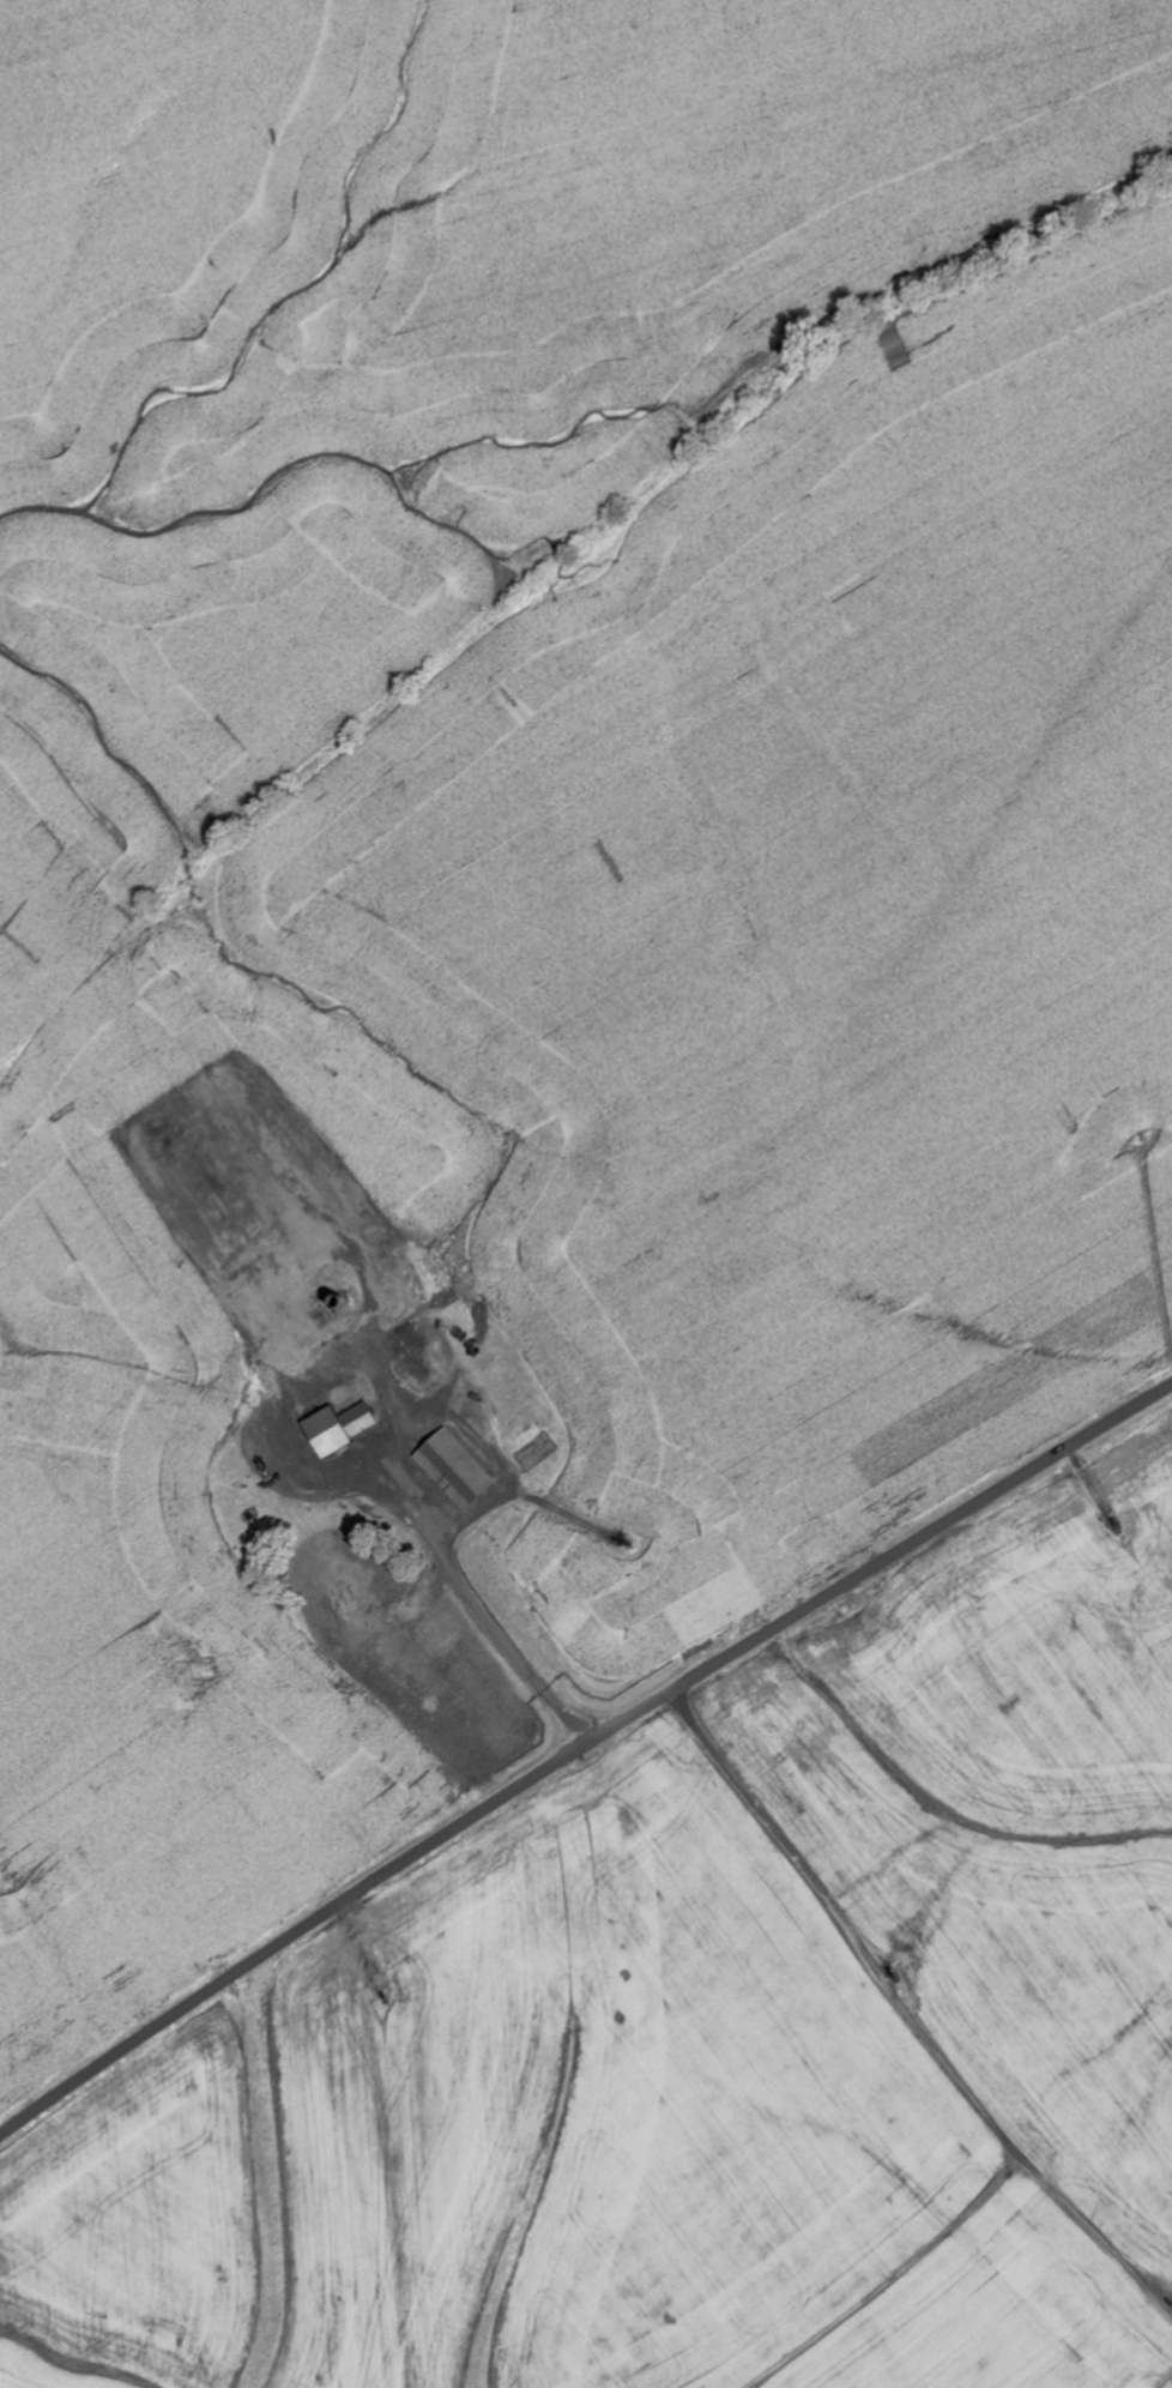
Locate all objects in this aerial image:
building: (260, 1289)
building: (312, 1328)
building: (338, 1428)
building: (455, 1469)
road: (488, 1630)
road: (578, 1750)

